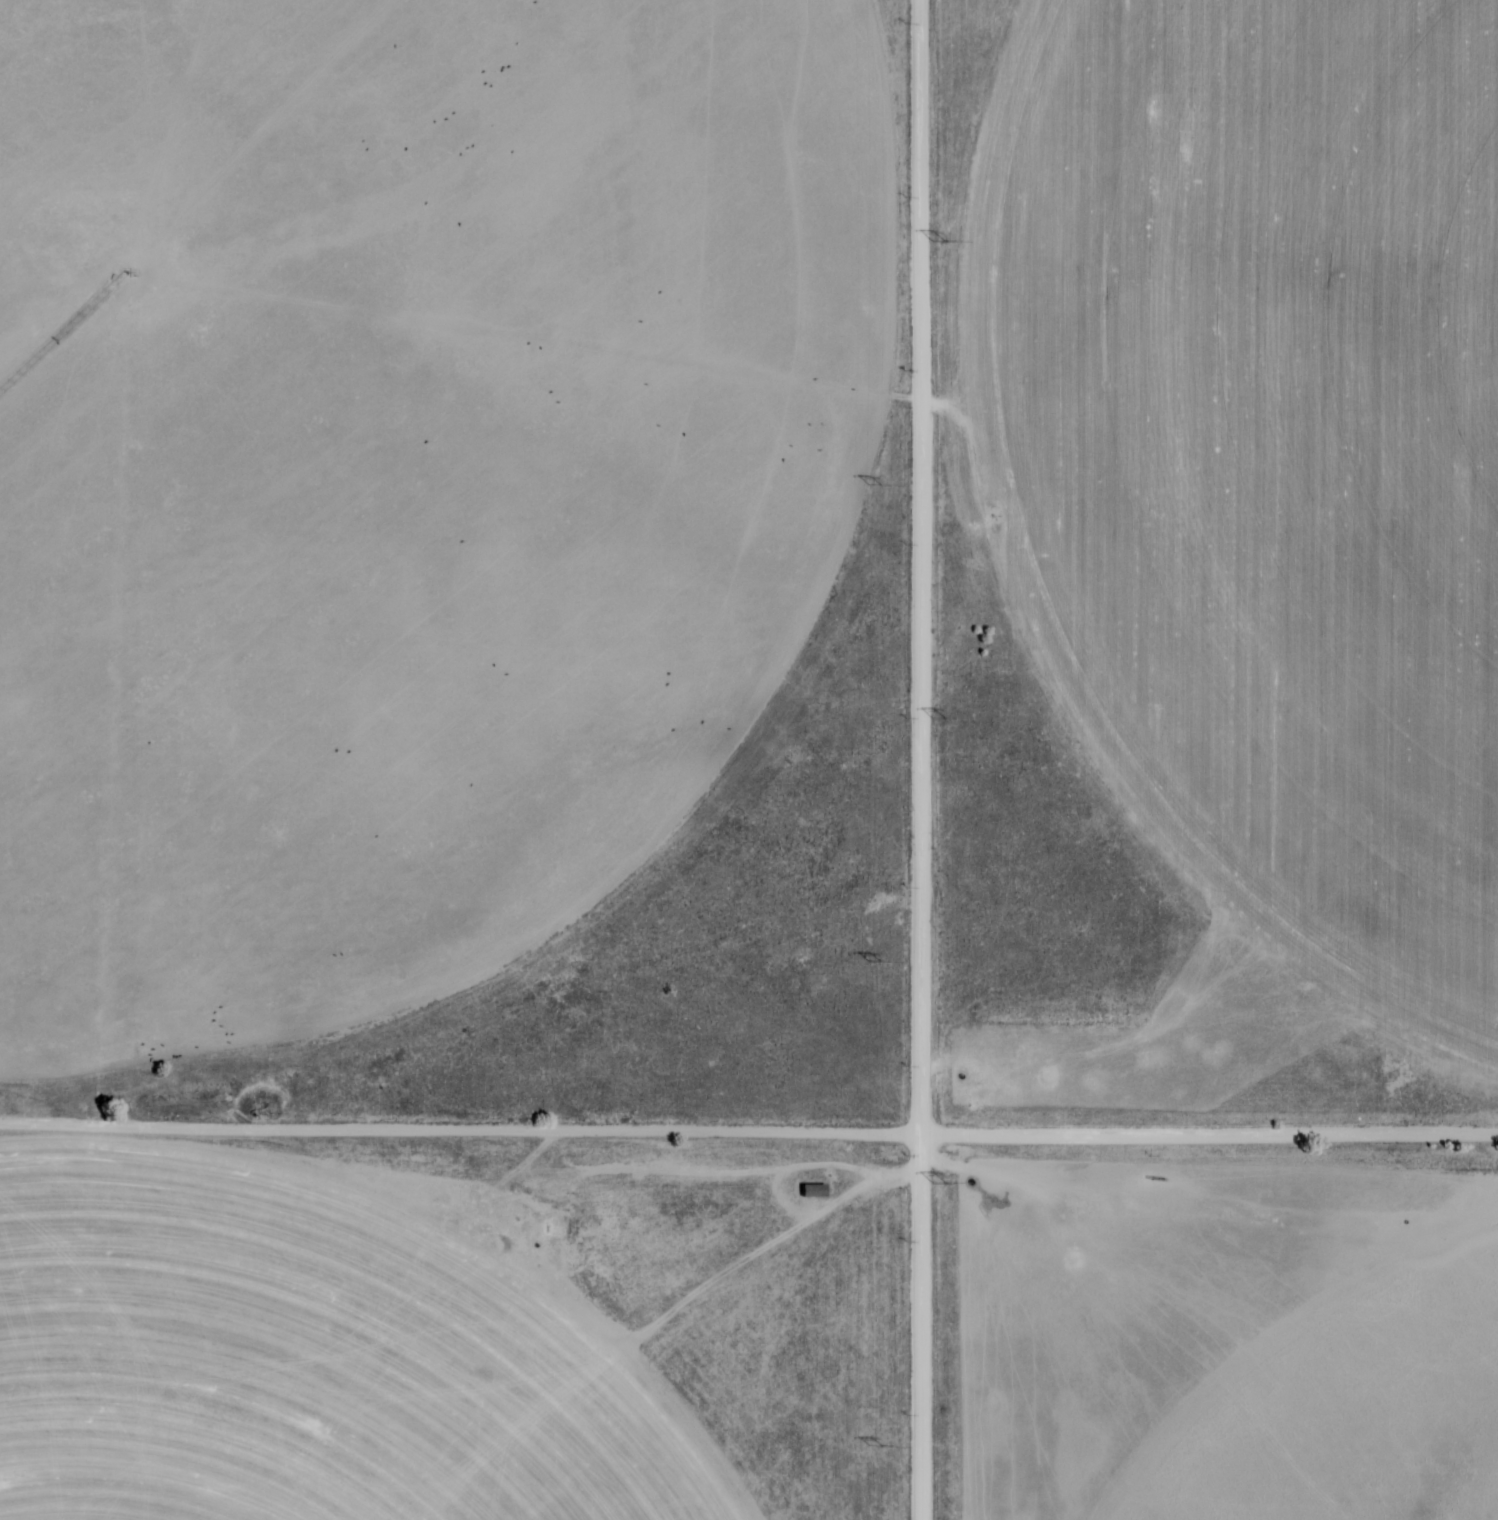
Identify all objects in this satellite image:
power tower: (940, 239)
power tower: (876, 484)
power tower: (941, 718)
road: (922, 759)
power tower: (873, 957)
road: (748, 1136)
power tower: (940, 1181)
power tower: (879, 1444)

